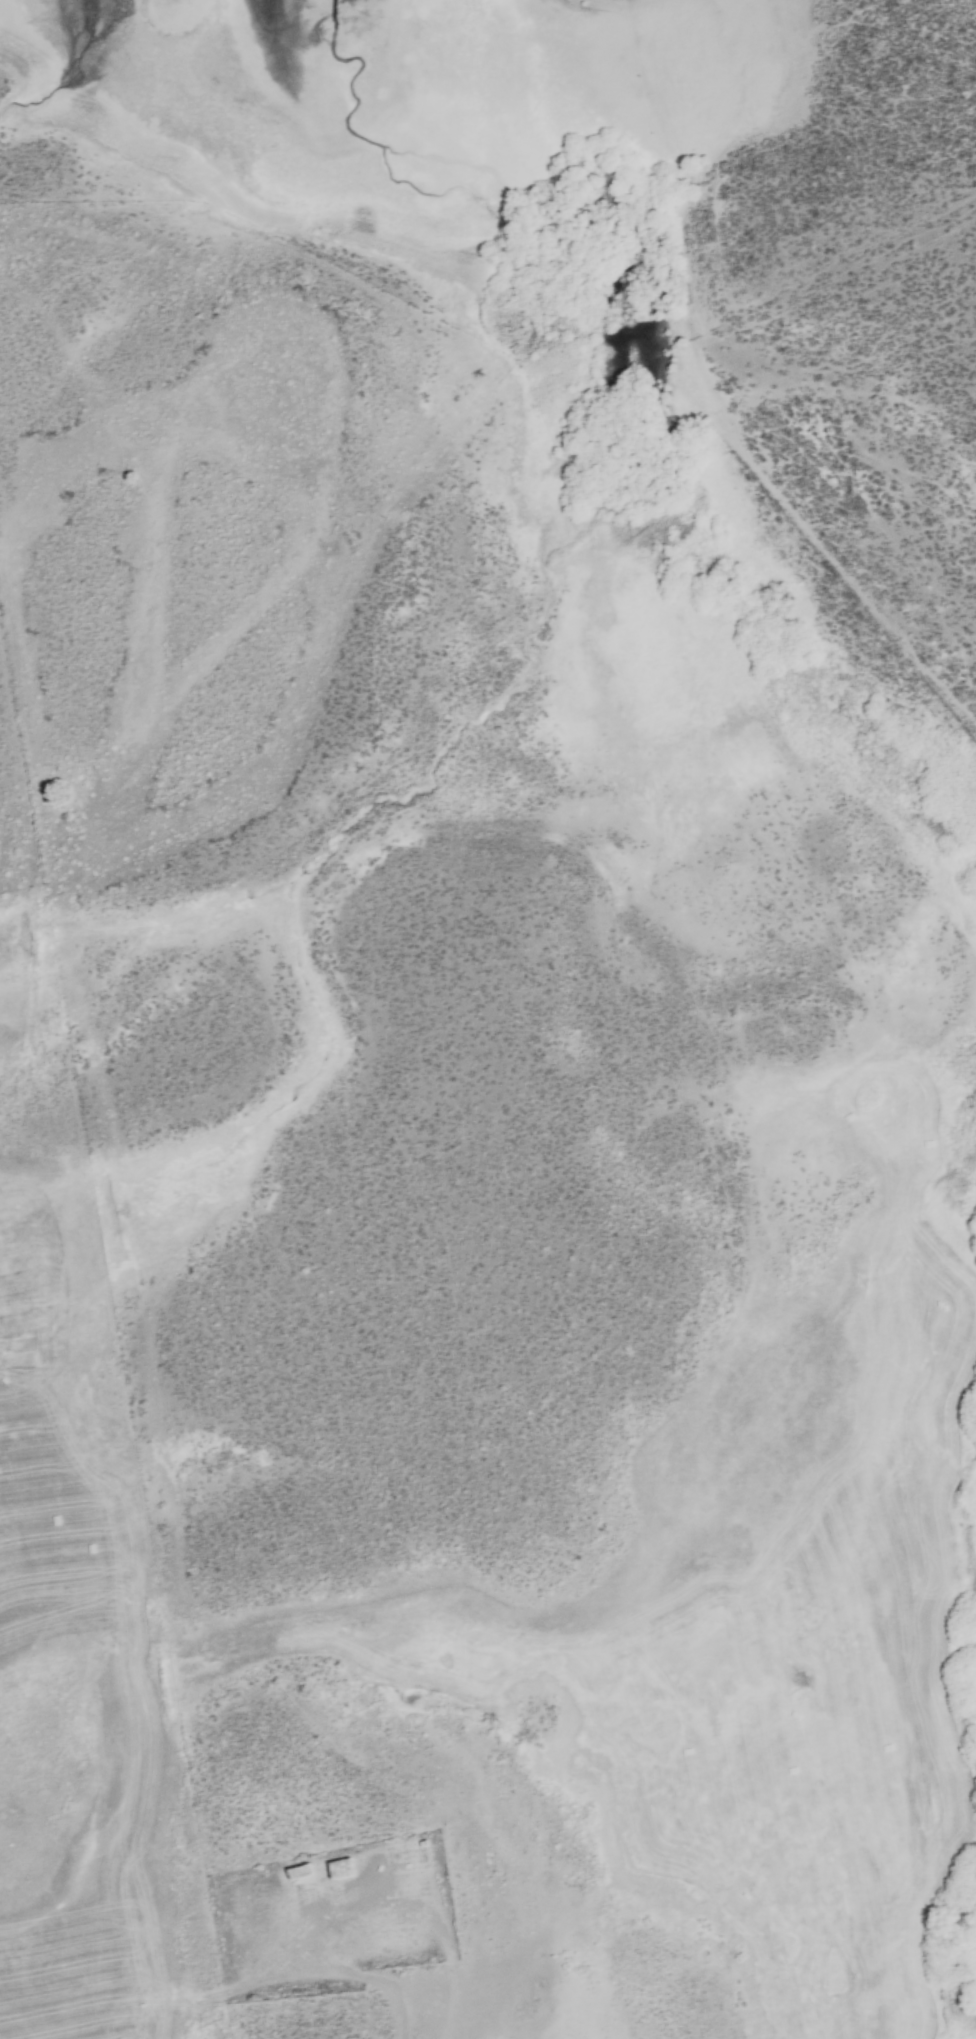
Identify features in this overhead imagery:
building: (225, 1907)

